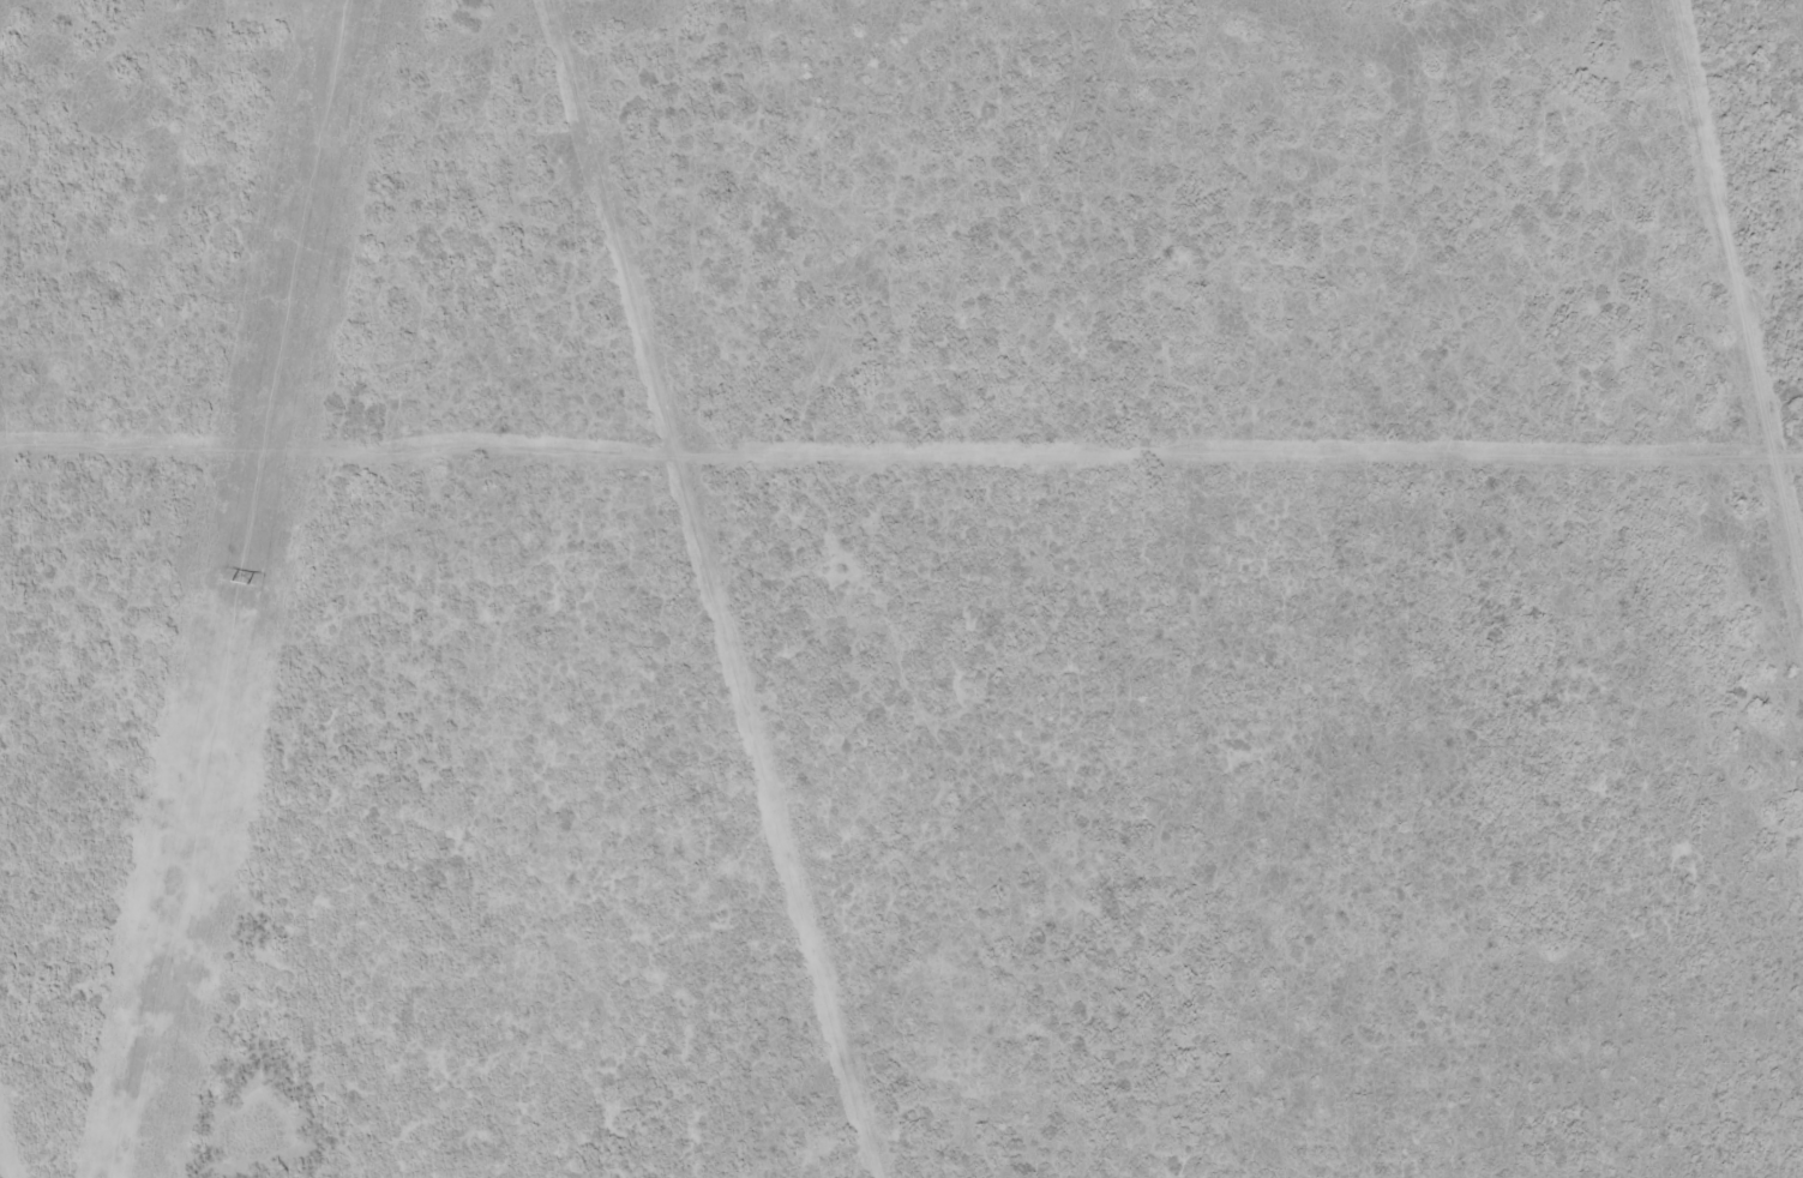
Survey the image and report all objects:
power tower: (238, 585)

